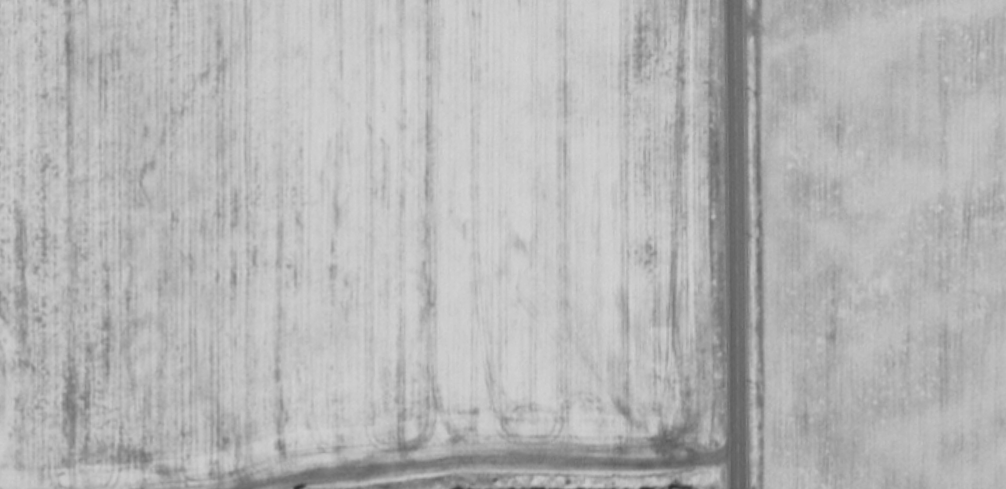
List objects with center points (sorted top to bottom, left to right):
road: (737, 244)

